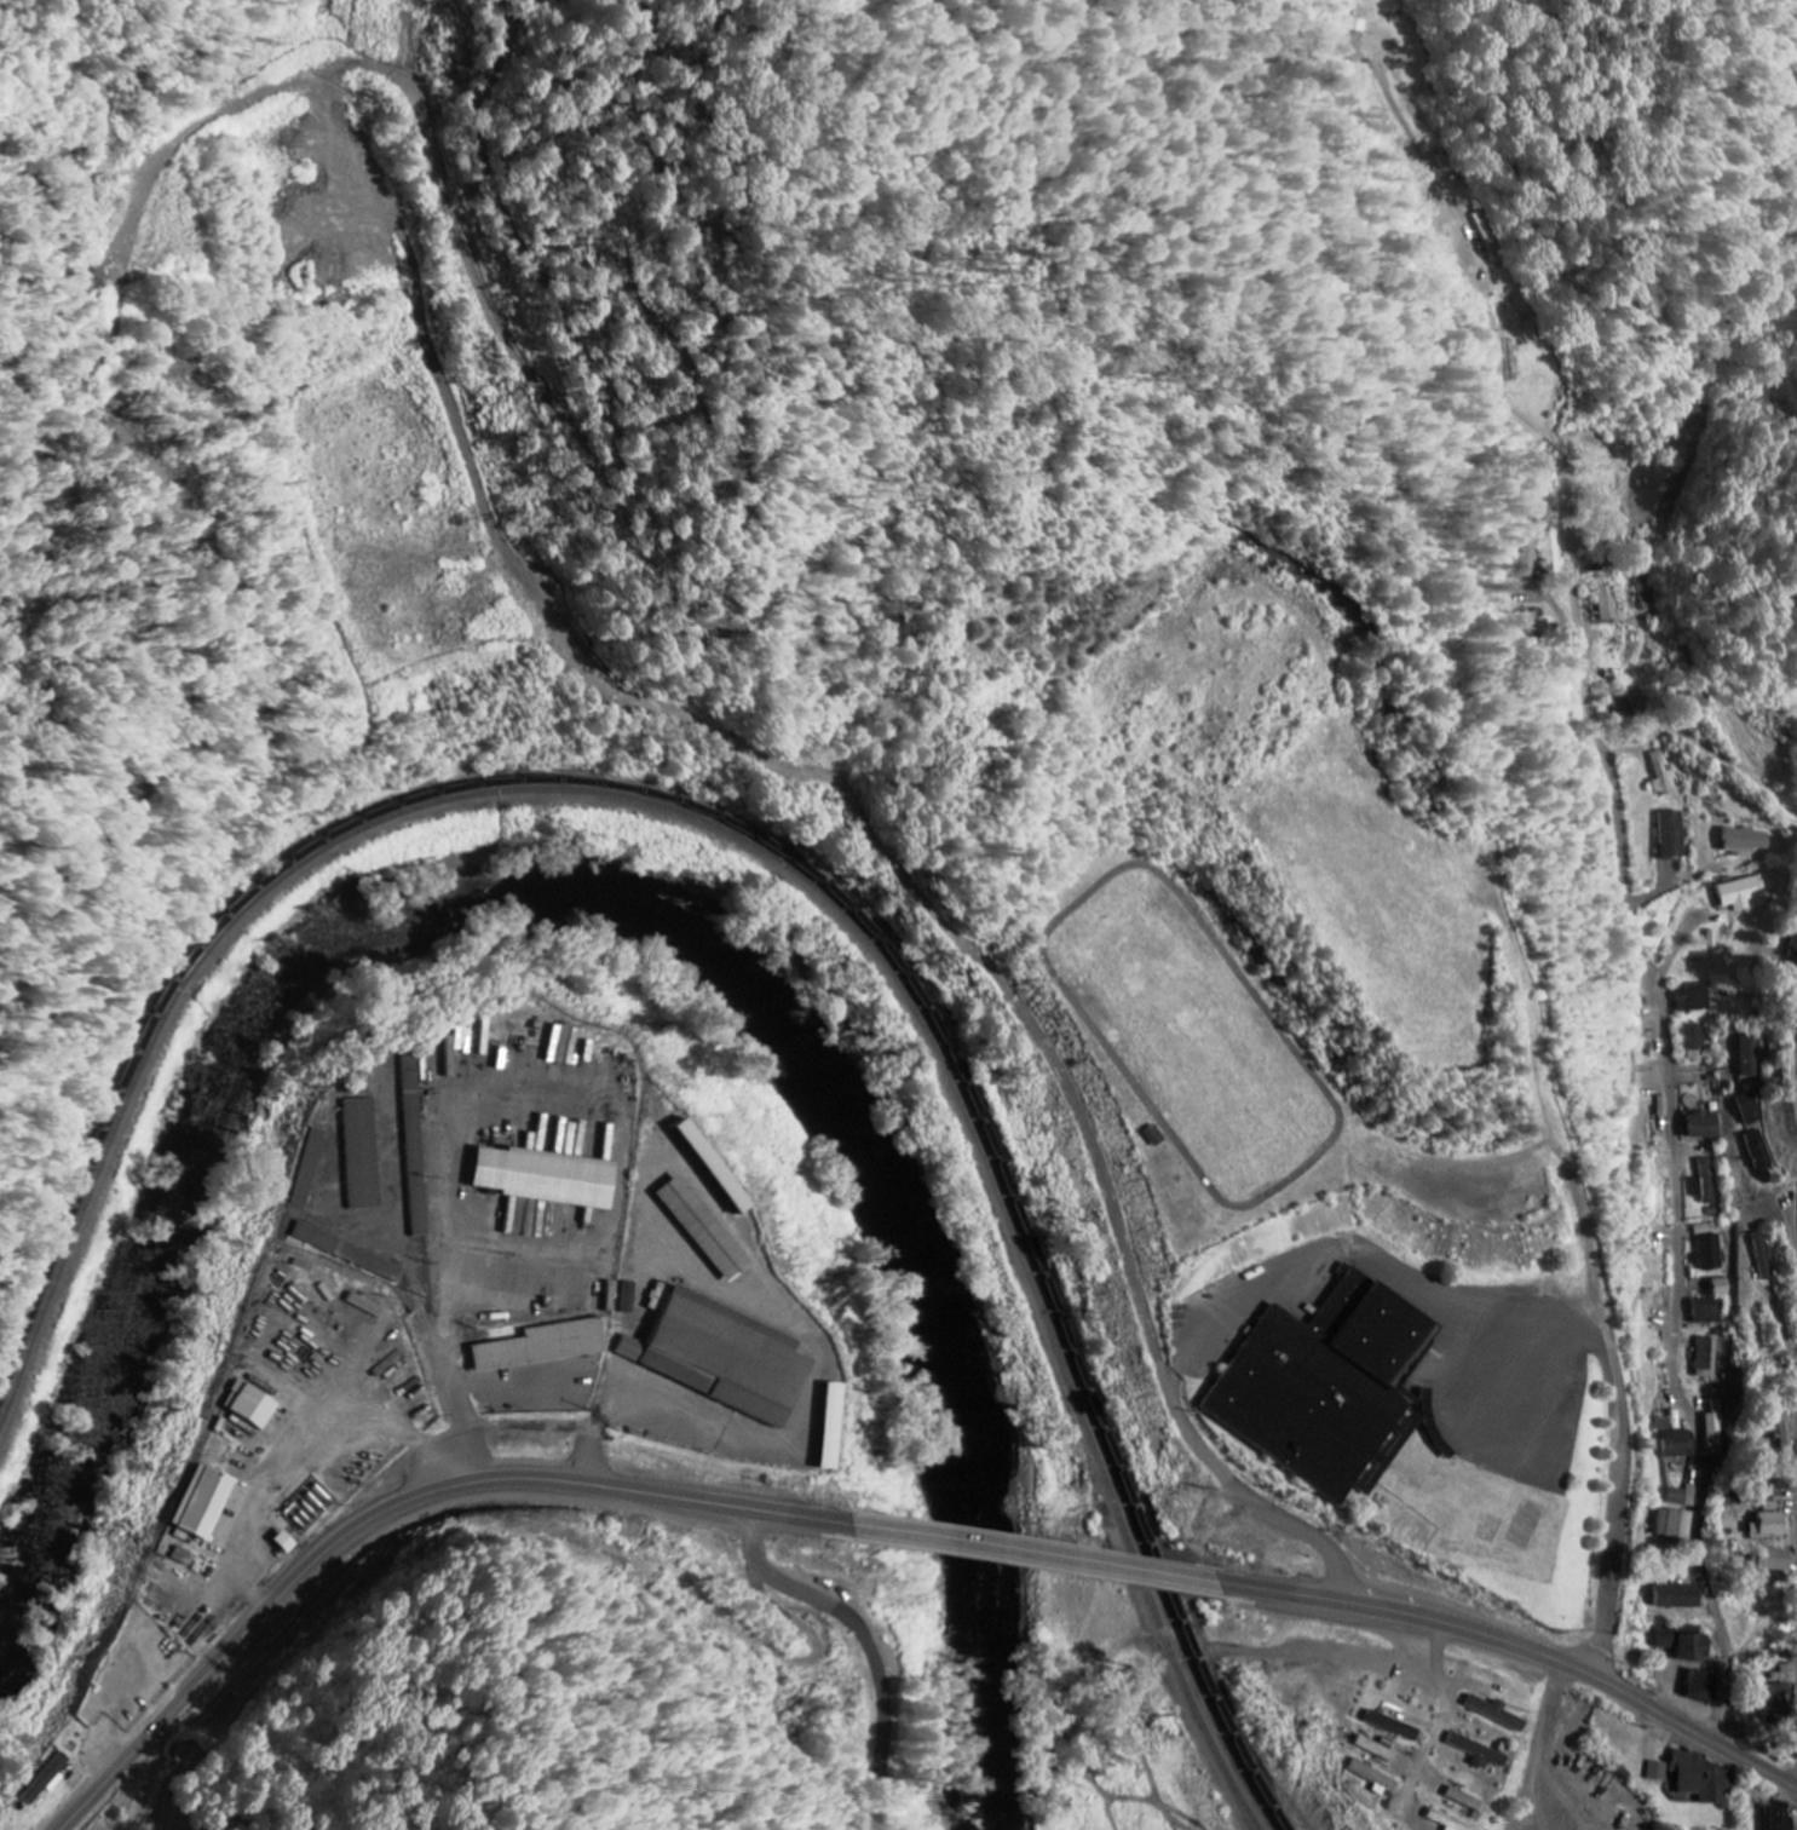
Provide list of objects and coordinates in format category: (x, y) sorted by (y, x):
building: (1359, 38)
building: (1605, 565)
building: (1609, 604)
building: (1631, 704)
building: (1663, 776)
building: (1675, 836)
building: (1747, 841)
railway: (773, 846)
railway: (754, 848)
building: (1744, 893)
river: (599, 905)
building: (1793, 942)
building: (1695, 999)
building: (1697, 1045)
building: (1751, 1055)
road: (1796, 1071)
building: (1750, 1110)
building: (1706, 1127)
building: (415, 1144)
building: (1759, 1152)
building: (363, 1155)
building: (310, 1168)
building: (715, 1168)
building: (548, 1179)
building: (1707, 1184)
road: (1681, 1202)
building: (707, 1231)
building: (349, 1253)
building: (1714, 1253)
building: (1723, 1288)
building: (630, 1299)
building: (1709, 1312)
building: (546, 1347)
building: (710, 1351)
building: (1709, 1359)
building: (1319, 1366)
building: (252, 1406)
building: (833, 1428)
building: (1782, 1432)
building: (1715, 1434)
building: (1678, 1439)
building: (1684, 1497)
road: (374, 1503)
building: (203, 1506)
building: (1770, 1524)
building: (1676, 1525)
road: (1014, 1541)
building: (287, 1543)
building: (1774, 1561)
building: (1680, 1598)
road: (1517, 1641)
building: (1688, 1644)
road: (875, 1658)
building: (1786, 1675)
building: (1705, 1687)
building: (1778, 1700)
building: (1496, 1713)
building: (1394, 1727)
building: (1377, 1750)
building: (1480, 1753)
building: (1659, 1773)
building: (47, 1779)
building: (1703, 1779)
building: (1377, 1780)
building: (1465, 1801)
building: (1781, 1817)
building: (1445, 1822)

